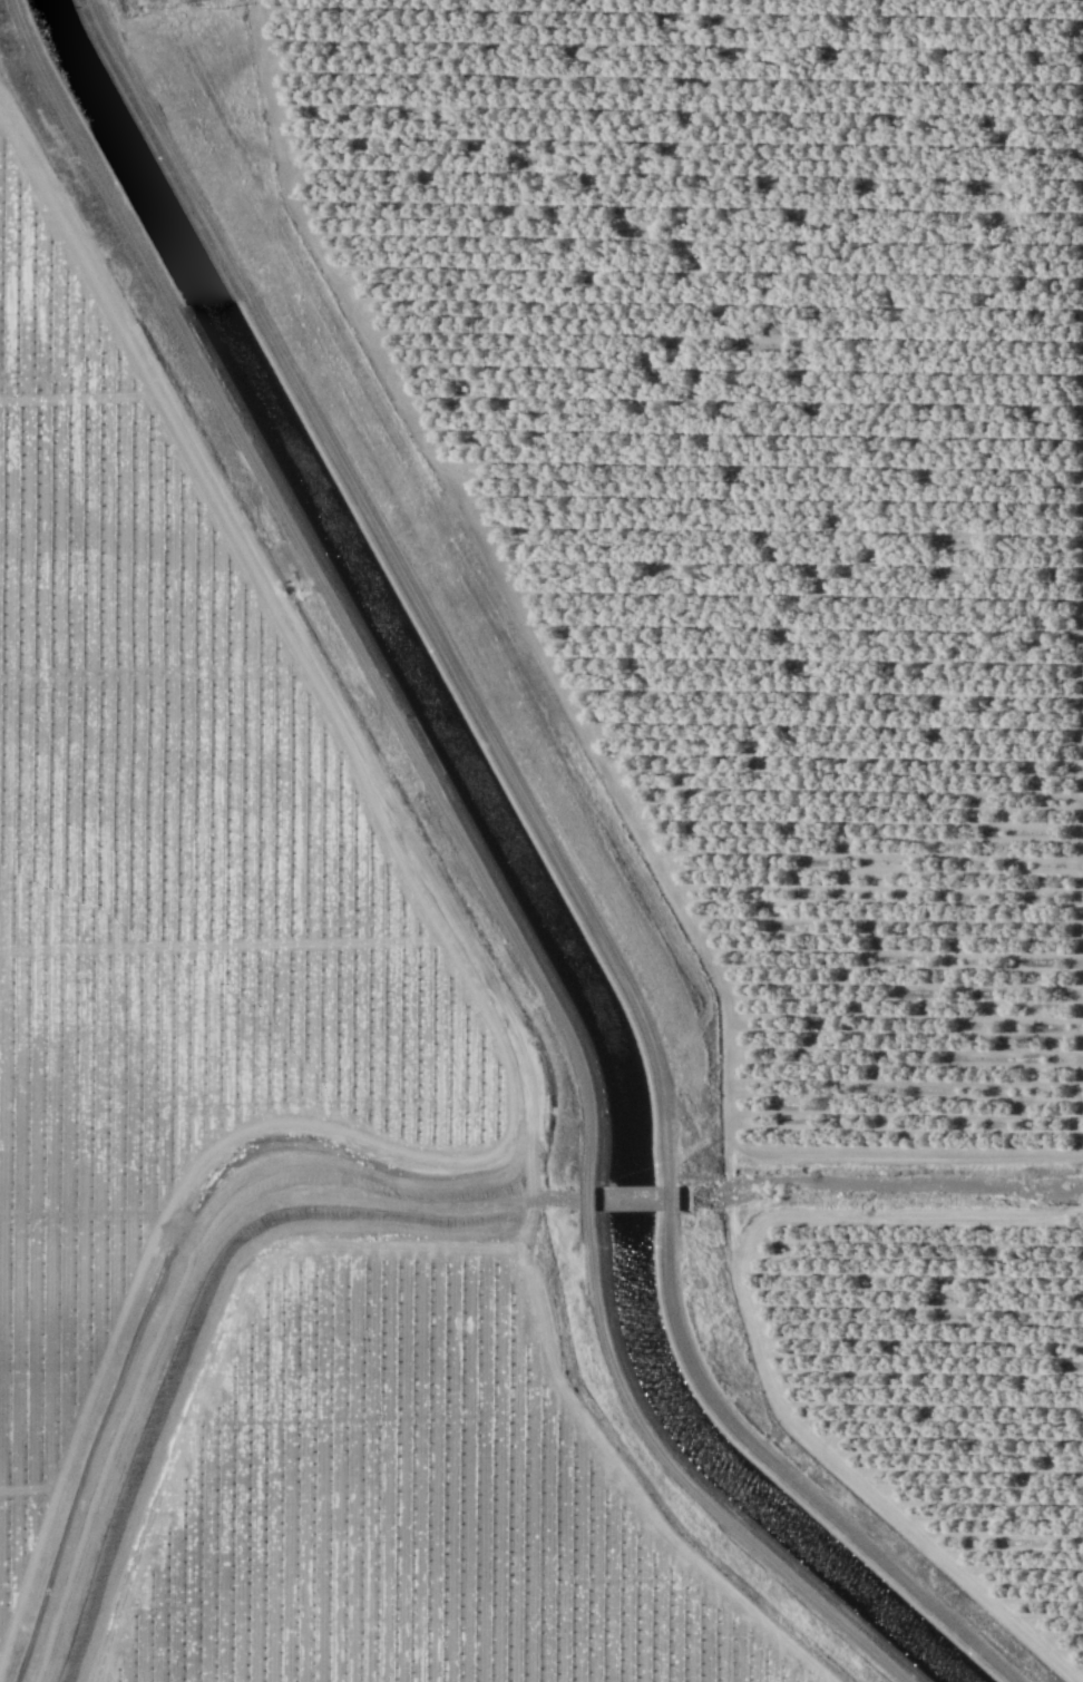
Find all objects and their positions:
road: (577, 726)
road: (558, 864)
road: (118, 878)
road: (1081, 951)
road: (497, 994)
crop: (258, 1118)
road: (757, 1352)
road: (596, 1450)

